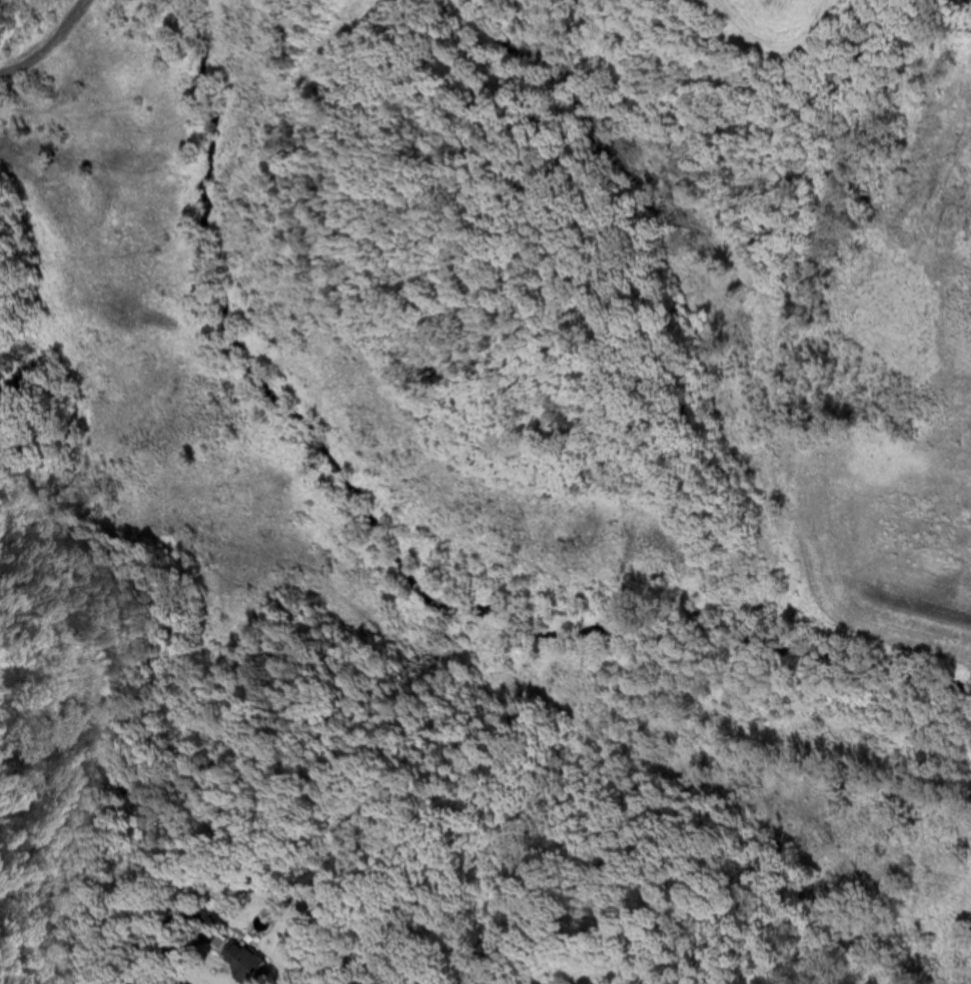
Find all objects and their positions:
building: (251, 961)

